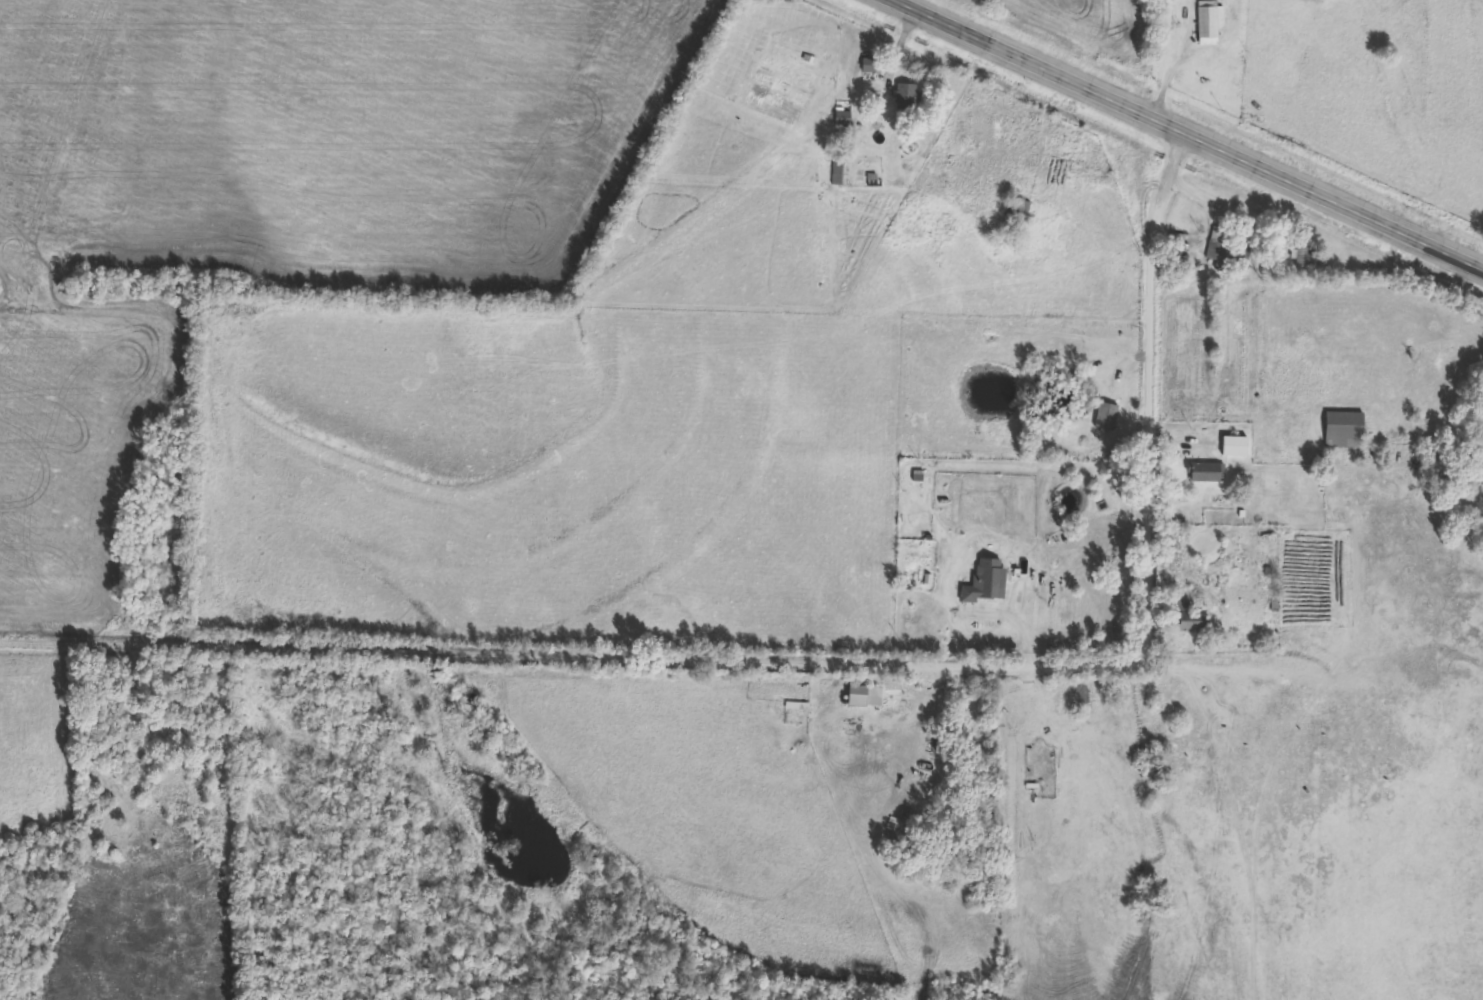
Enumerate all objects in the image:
building: (1298, 0)
building: (1213, 24)
building: (1237, 45)
road: (894, 55)
building: (873, 68)
road: (1169, 71)
building: (907, 100)
building: (842, 122)
railway: (1206, 126)
road: (1184, 137)
building: (838, 173)
road: (1205, 194)
building: (1019, 212)
building: (1178, 247)
building: (1218, 255)
building: (1346, 433)
building: (1235, 449)
building: (1208, 475)
building: (988, 584)
building: (1187, 607)
building: (1192, 625)
road: (832, 659)
road: (1209, 680)
building: (866, 699)

